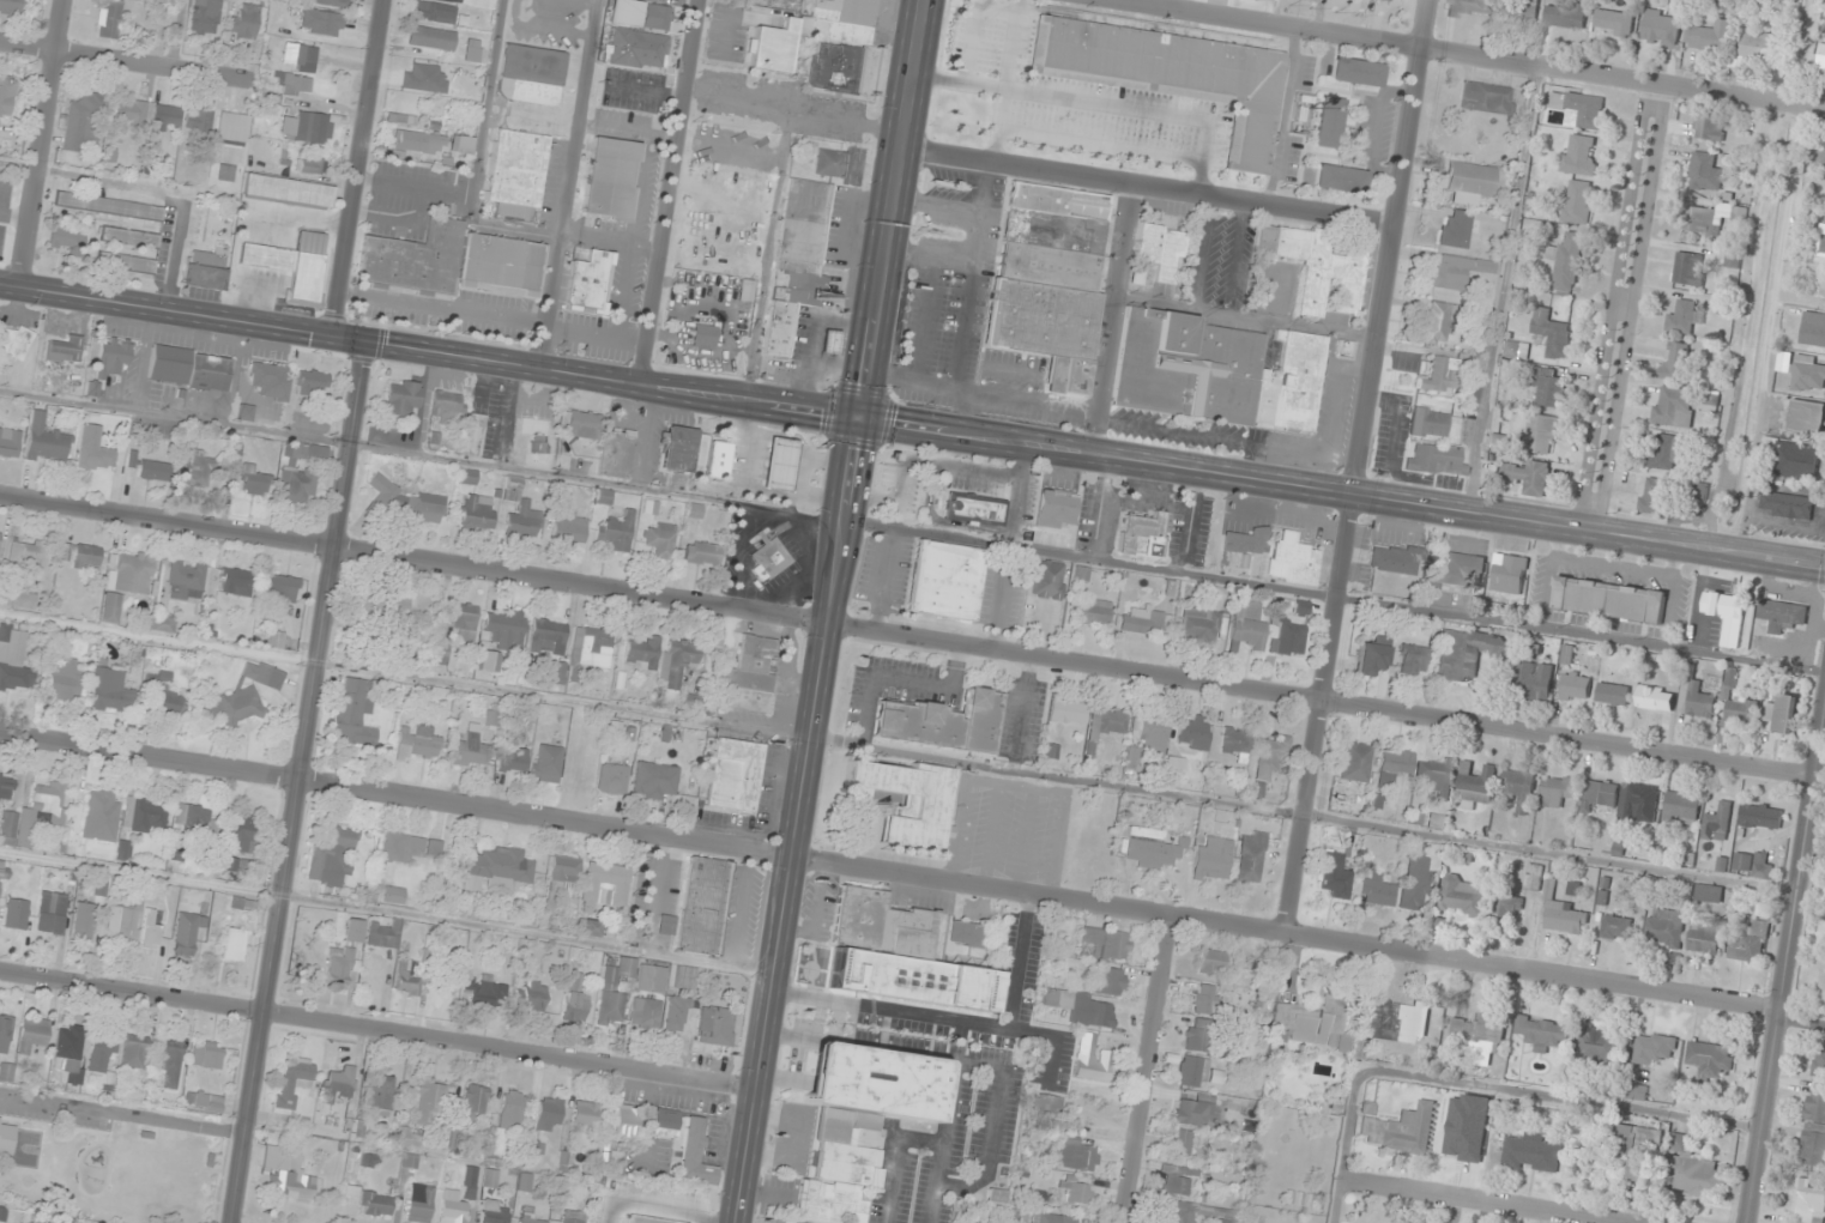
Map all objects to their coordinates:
building: (1389, 0)
building: (479, 2)
building: (332, 4)
building: (10, 6)
building: (1469, 8)
building: (1517, 10)
building: (435, 12)
building: (204, 16)
building: (1565, 16)
building: (108, 18)
building: (657, 18)
building: (243, 20)
building: (1614, 22)
building: (1661, 26)
building: (812, 31)
road: (181, 35)
building: (431, 37)
building: (1709, 37)
building: (1757, 44)
building: (637, 49)
building: (473, 50)
road: (1469, 55)
building: (1821, 56)
building: (298, 57)
road: (135, 63)
building: (835, 67)
building: (1355, 72)
building: (532, 73)
building: (1171, 74)
building: (424, 78)
building: (294, 85)
building: (6, 97)
building: (1483, 97)
building: (1578, 109)
building: (129, 115)
building: (165, 117)
building: (399, 119)
building: (198, 122)
building: (1327, 122)
building: (81, 123)
building: (309, 127)
building: (230, 128)
building: (1709, 128)
building: (417, 141)
road: (44, 143)
building: (461, 144)
building: (1818, 152)
building: (1579, 156)
building: (829, 163)
building: (308, 165)
road: (353, 168)
building: (515, 171)
building: (225, 172)
building: (1705, 172)
building: (610, 178)
building: (1469, 178)
building: (1338, 180)
road: (573, 184)
building: (735, 186)
road: (1147, 188)
building: (288, 190)
road: (670, 192)
building: (1577, 202)
building: (108, 205)
building: (1709, 219)
building: (803, 228)
building: (1454, 229)
building: (66, 237)
building: (129, 238)
building: (1821, 241)
building: (1159, 248)
building: (126, 262)
building: (292, 262)
building: (452, 262)
building: (1566, 262)
building: (1316, 266)
building: (206, 268)
building: (1690, 270)
building: (1450, 272)
building: (1050, 278)
building: (588, 283)
building: (1815, 283)
building: (811, 301)
road: (1627, 308)
building: (1682, 319)
road: (1116, 321)
building: (1436, 323)
building: (779, 328)
building: (1813, 331)
building: (1552, 334)
building: (703, 335)
traffic signals: (332, 337)
building: (829, 341)
building: (14, 343)
traffic signals: (369, 345)
building: (64, 349)
building: (1516, 350)
road: (428, 352)
building: (113, 358)
building: (1674, 362)
building: (189, 368)
building: (1214, 371)
building: (1803, 373)
building: (1439, 375)
building: (271, 381)
building: (310, 382)
building: (1548, 387)
building: (403, 398)
building: (1711, 399)
building: (448, 405)
building: (1675, 407)
building: (1807, 418)
traffic signals: (857, 420)
building: (1428, 423)
building: (581, 424)
building: (473, 435)
building: (1540, 435)
building: (46, 441)
building: (10, 442)
building: (538, 444)
building: (1504, 444)
building: (683, 448)
building: (93, 452)
building: (307, 452)
building: (616, 453)
building: (1663, 453)
building: (718, 460)
building: (1434, 460)
building: (1796, 460)
building: (778, 465)
road: (1360, 466)
building: (199, 467)
building: (151, 468)
building: (1529, 477)
building: (248, 478)
building: (296, 484)
road: (1341, 494)
building: (603, 495)
building: (1652, 497)
building: (410, 503)
building: (653, 503)
building: (1787, 505)
building: (974, 508)
building: (1057, 508)
building: (477, 511)
building: (524, 520)
building: (569, 529)
building: (615, 532)
building: (0, 535)
building: (1143, 537)
building: (659, 539)
building: (1246, 541)
building: (703, 553)
building: (30, 557)
building: (768, 558)
building: (1293, 561)
building: (1392, 561)
building: (1457, 570)
building: (1507, 574)
building: (945, 580)
building: (1049, 580)
building: (185, 581)
building: (234, 581)
building: (127, 582)
building: (282, 593)
building: (1608, 601)
building: (398, 606)
road: (827, 611)
building: (1092, 611)
building: (1726, 613)
building: (1782, 614)
building: (461, 619)
building: (1141, 620)
building: (162, 623)
building: (1202, 624)
building: (1246, 625)
building: (504, 628)
building: (546, 634)
building: (1288, 636)
road: (907, 638)
building: (271, 640)
building: (591, 647)
building: (642, 653)
building: (1468, 653)
building: (441, 654)
building: (1371, 656)
building: (14, 660)
building: (1412, 660)
building: (489, 661)
building: (676, 667)
building: (262, 673)
building: (750, 676)
building: (64, 679)
building: (1533, 680)
building: (108, 688)
building: (1575, 688)
building: (1613, 694)
building: (165, 695)
building: (1656, 697)
building: (1696, 697)
building: (234, 704)
building: (696, 706)
building: (1740, 710)
building: (1066, 712)
building: (351, 714)
building: (1783, 714)
building: (941, 721)
building: (1106, 722)
building: (1148, 732)
building: (1192, 733)
building: (627, 735)
building: (417, 743)
building: (1234, 743)
building: (470, 751)
building: (1270, 755)
building: (513, 759)
building: (1134, 759)
building: (1354, 762)
building: (546, 763)
building: (1396, 763)
building: (735, 774)
building: (1433, 775)
building: (614, 779)
building: (654, 780)
road: (298, 783)
building: (1476, 785)
building: (6, 787)
building: (1519, 789)
building: (1557, 791)
building: (1599, 793)
building: (1341, 795)
building: (907, 800)
building: (1638, 803)
building: (1681, 809)
building: (35, 813)
building: (102, 813)
building: (145, 816)
building: (1760, 817)
building: (1437, 821)
building: (198, 823)
building: (1718, 823)
building: (240, 835)
building: (409, 847)
building: (1150, 849)
building: (125, 850)
building: (331, 854)
building: (1250, 856)
building: (1213, 859)
building: (230, 864)
building: (1753, 864)
building: (496, 870)
building: (563, 872)
building: (0, 873)
building: (1334, 874)
road: (912, 876)
building: (1534, 877)
building: (1415, 879)
building: (605, 886)
building: (1379, 892)
building: (1709, 894)
building: (393, 895)
building: (1462, 897)
building: (699, 907)
building: (1506, 908)
building: (1761, 909)
building: (50, 912)
building: (17, 913)
building: (1561, 914)
building: (83, 920)
building: (122, 925)
building: (590, 927)
building: (1616, 927)
building: (1664, 927)
building: (150, 931)
building: (187, 932)
building: (971, 932)
building: (386, 934)
building: (1704, 939)
building: (1748, 940)
building: (232, 944)
building: (1105, 944)
building: (898, 955)
building: (1211, 962)
building: (338, 965)
road: (1787, 967)
building: (651, 976)
building: (409, 977)
building: (1110, 981)
building: (616, 989)
building: (484, 991)
building: (533, 995)
building: (574, 998)
building: (1204, 999)
building: (1082, 1007)
building: (646, 1012)
building: (676, 1013)
building: (1395, 1021)
building: (715, 1022)
building: (1310, 1023)
road: (376, 1030)
building: (5, 1031)
building: (1542, 1033)
building: (32, 1034)
building: (1197, 1039)
building: (1477, 1039)
building: (1596, 1043)
building: (1655, 1049)
building: (134, 1052)
building: (101, 1053)
building: (68, 1054)
building: (207, 1054)
building: (1089, 1059)
building: (1709, 1060)
building: (1820, 1060)
building: (170, 1062)
road: (1150, 1071)
building: (1192, 1071)
building: (294, 1080)
building: (339, 1083)
road: (1485, 1088)
building: (1634, 1092)
building: (380, 1094)
building: (205, 1101)
building: (428, 1101)
building: (475, 1101)
building: (1047, 1104)
building: (1815, 1104)
building: (510, 1108)
building: (1191, 1110)
building: (549, 1114)
building: (585, 1114)
building: (857, 1121)
building: (666, 1124)
building: (623, 1126)
building: (1401, 1130)
building: (406, 1136)
building: (6, 1138)
building: (1637, 1139)
building: (1179, 1142)
building: (1813, 1145)
building: (536, 1149)
building: (695, 1154)
building: (1530, 1154)
building: (1078, 1155)
park: (113, 1170)
building: (1693, 1170)
building: (286, 1173)
building: (470, 1181)
building: (1176, 1183)
building: (1077, 1192)
building: (996, 1195)
road: (1476, 1201)
building: (1809, 1201)
building: (377, 1204)
building: (419, 1204)
building: (452, 1207)
building: (495, 1211)
building: (1177, 1212)
building: (570, 1217)
building: (1050, 1218)
building: (531, 1219)
building: (651, 1219)

